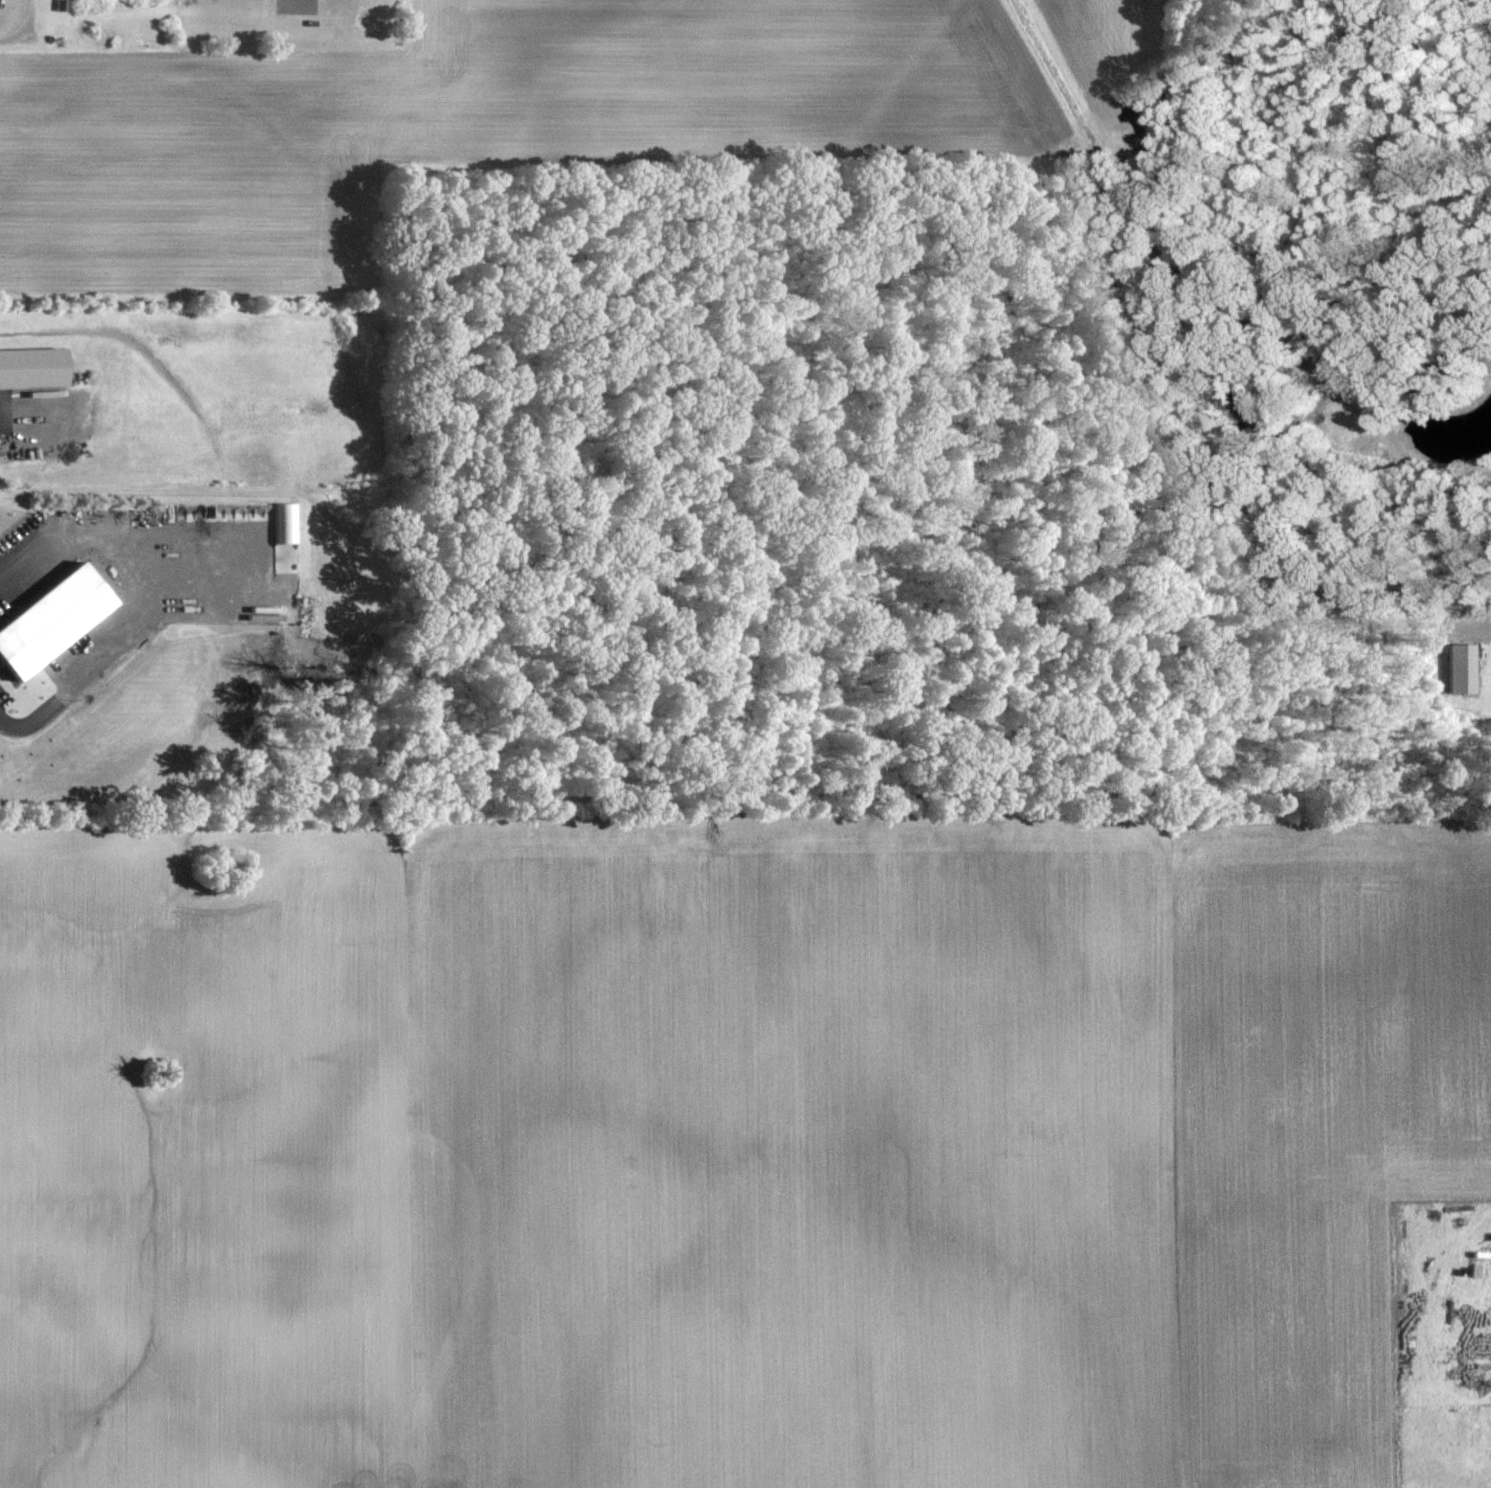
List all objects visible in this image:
road: (14, 19)
building: (36, 369)
road: (13, 424)
building: (288, 522)
road: (141, 599)
building: (57, 620)
road: (1480, 624)
building: (1455, 669)

